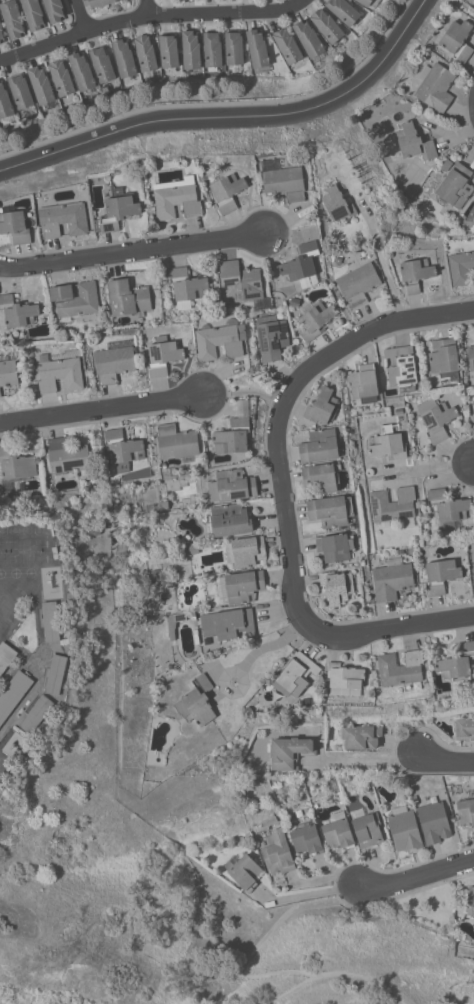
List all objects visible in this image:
building: (98, 3)
building: (369, 3)
building: (473, 3)
road: (147, 7)
building: (54, 10)
building: (343, 10)
building: (33, 14)
road: (149, 14)
road: (81, 15)
building: (12, 18)
building: (327, 25)
building: (1, 32)
building: (456, 38)
building: (310, 40)
building: (287, 45)
building: (191, 49)
building: (212, 50)
building: (234, 50)
building: (258, 50)
building: (169, 51)
building: (145, 54)
building: (123, 57)
building: (102, 64)
building: (82, 72)
building: (61, 77)
building: (42, 86)
building: (435, 86)
building: (20, 91)
building: (5, 106)
road: (237, 121)
building: (410, 144)
building: (446, 164)
building: (283, 180)
building: (455, 186)
building: (227, 191)
building: (177, 197)
building: (338, 203)
building: (119, 208)
building: (64, 219)
building: (15, 226)
road: (134, 249)
building: (338, 260)
road: (382, 260)
building: (301, 264)
building: (461, 267)
building: (415, 272)
building: (276, 278)
building: (240, 282)
building: (358, 283)
building: (186, 286)
building: (128, 297)
building: (75, 300)
building: (294, 301)
building: (17, 311)
building: (314, 318)
road: (377, 328)
building: (271, 336)
building: (220, 339)
building: (471, 356)
building: (163, 357)
building: (444, 358)
building: (115, 360)
building: (402, 367)
building: (60, 371)
building: (8, 372)
building: (364, 384)
building: (0, 394)
building: (473, 402)
building: (323, 406)
road: (103, 410)
building: (399, 410)
building: (436, 418)
building: (234, 431)
building: (177, 442)
building: (321, 445)
building: (388, 445)
building: (122, 449)
building: (68, 456)
road: (431, 466)
building: (15, 469)
building: (322, 477)
building: (231, 485)
building: (163, 505)
building: (448, 505)
building: (393, 506)
building: (150, 509)
building: (330, 510)
building: (229, 520)
building: (93, 531)
building: (193, 547)
building: (335, 547)
building: (245, 551)
building: (194, 569)
building: (440, 575)
building: (392, 578)
building: (240, 586)
building: (336, 587)
road: (295, 589)
building: (192, 614)
building: (51, 620)
building: (175, 622)
building: (228, 623)
road: (267, 648)
building: (6, 655)
building: (457, 664)
building: (400, 667)
building: (56, 674)
building: (296, 674)
building: (345, 679)
building: (14, 693)
building: (197, 701)
building: (305, 702)
building: (247, 710)
building: (37, 714)
building: (464, 729)
building: (361, 736)
building: (291, 751)
road: (444, 761)
road: (360, 762)
building: (466, 811)
building: (274, 817)
building: (434, 821)
building: (366, 827)
building: (405, 828)
building: (338, 830)
building: (306, 839)
building: (278, 852)
building: (243, 870)
road: (416, 878)
road: (306, 894)
building: (470, 900)
park: (156, 913)
road: (262, 941)
road: (358, 972)
road: (289, 994)

